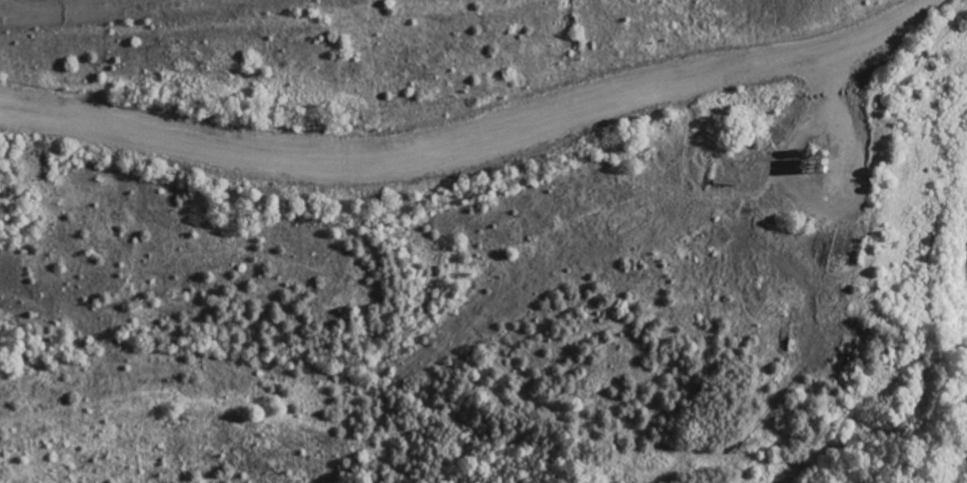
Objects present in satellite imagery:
quarry: (275, 50)
road: (478, 189)

